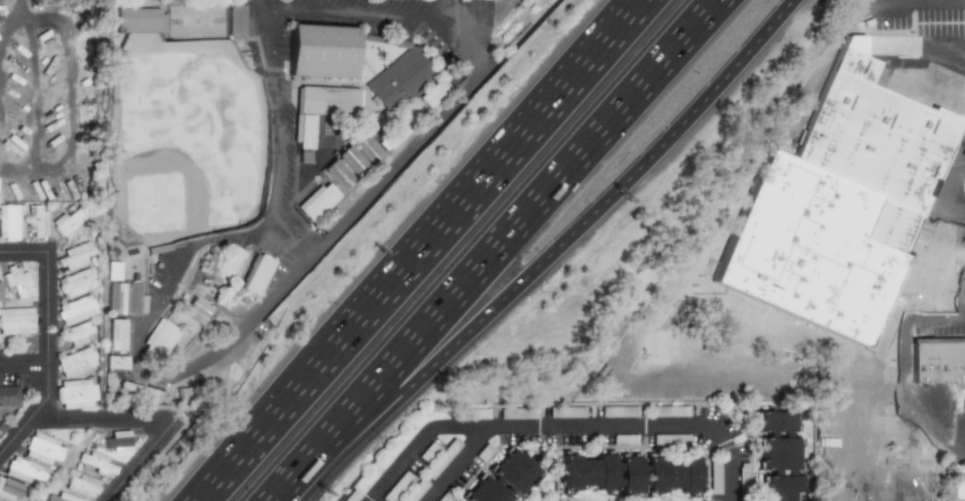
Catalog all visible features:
road: (21, 7)
road: (641, 8)
road: (642, 8)
road: (444, 9)
road: (349, 10)
building: (138, 19)
building: (235, 20)
road: (10, 25)
road: (945, 43)
building: (321, 51)
road: (665, 61)
road: (743, 61)
building: (397, 80)
road: (35, 89)
building: (432, 92)
road: (71, 102)
building: (317, 113)
building: (389, 136)
building: (364, 148)
building: (350, 161)
road: (963, 168)
building: (335, 174)
road: (490, 177)
building: (843, 198)
building: (314, 201)
road: (954, 211)
building: (36, 221)
building: (10, 222)
road: (266, 222)
building: (68, 223)
road: (336, 225)
road: (288, 238)
road: (25, 255)
building: (76, 256)
building: (218, 260)
road: (954, 262)
road: (918, 266)
building: (112, 270)
building: (251, 273)
building: (16, 282)
building: (76, 283)
road: (678, 286)
building: (122, 298)
building: (76, 309)
building: (194, 310)
road: (443, 311)
road: (493, 312)
road: (930, 314)
building: (16, 321)
building: (118, 333)
building: (79, 334)
building: (157, 339)
building: (940, 358)
building: (76, 361)
building: (115, 363)
road: (25, 364)
road: (50, 364)
building: (137, 389)
building: (76, 394)
building: (9, 398)
road: (290, 398)
building: (619, 411)
building: (670, 411)
building: (477, 413)
building: (516, 413)
road: (104, 419)
road: (563, 425)
building: (117, 439)
building: (626, 439)
building: (43, 449)
building: (778, 454)
building: (443, 458)
road: (140, 461)
road: (457, 463)
building: (96, 464)
building: (24, 470)
building: (743, 470)
building: (601, 472)
building: (671, 474)
building: (714, 477)
building: (505, 478)
road: (216, 480)
building: (81, 485)
building: (397, 486)
building: (9, 490)
building: (416, 491)
building: (61, 497)
building: (445, 498)

